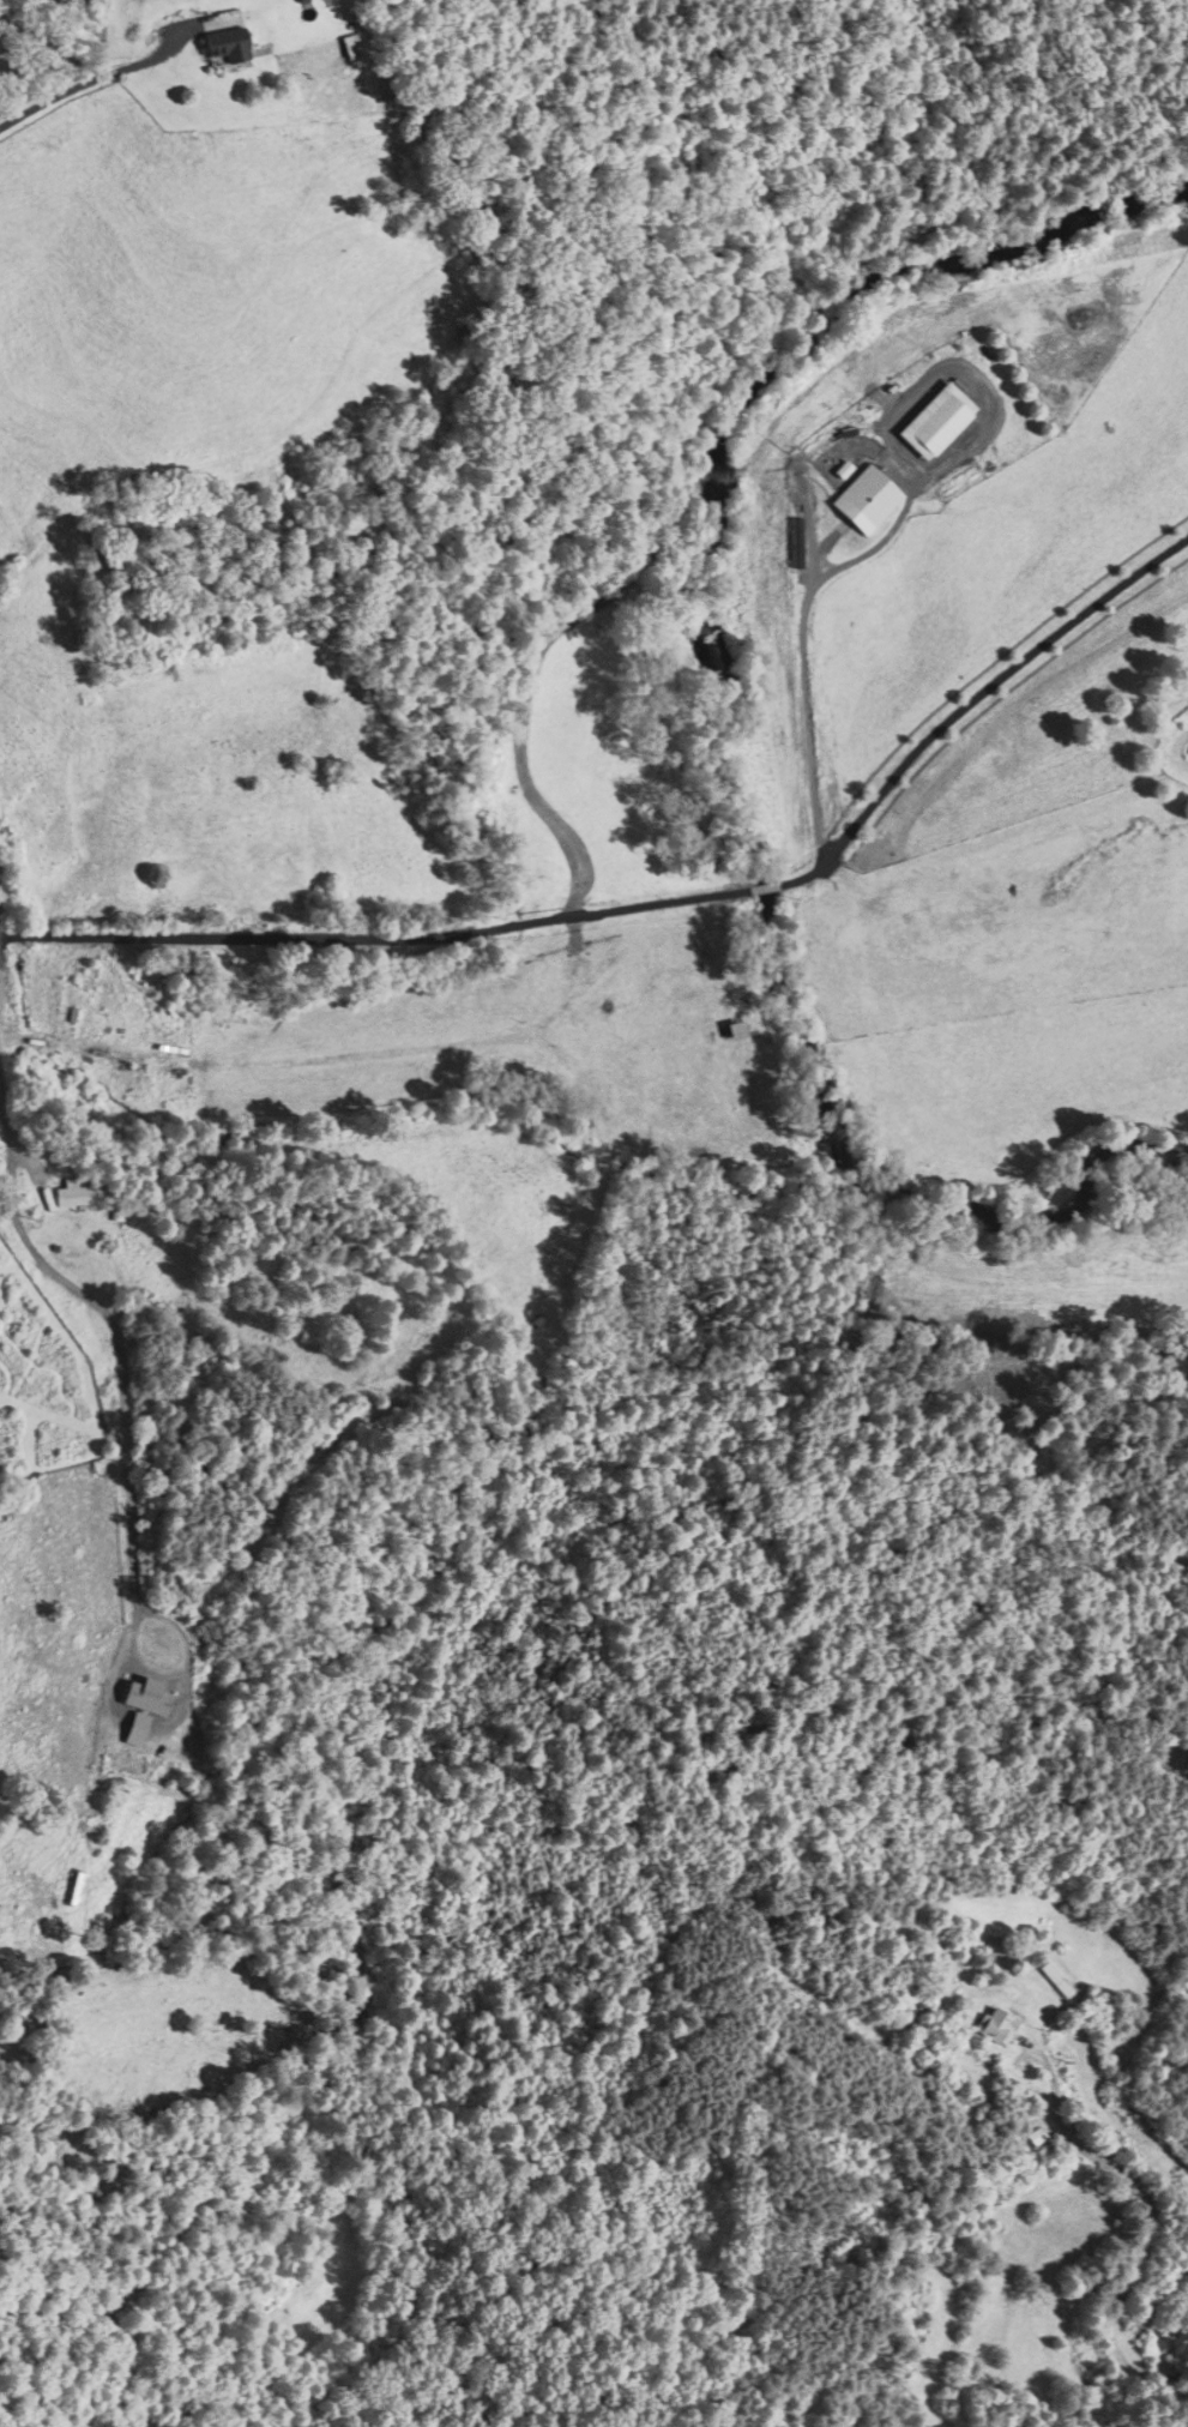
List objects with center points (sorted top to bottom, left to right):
building: (223, 46)
road: (84, 84)
building: (931, 423)
building: (863, 502)
road: (886, 531)
river: (706, 552)
road: (972, 697)
road: (756, 887)
road: (620, 907)
road: (255, 937)
building: (237, 964)
building: (195, 980)
building: (734, 1043)
river: (1032, 1187)
building: (74, 1197)
road: (120, 1350)
road: (180, 1621)
building: (151, 1698)
building: (76, 1889)
building: (1056, 1983)
building: (996, 2026)
building: (1037, 2137)
road: (1144, 2238)

